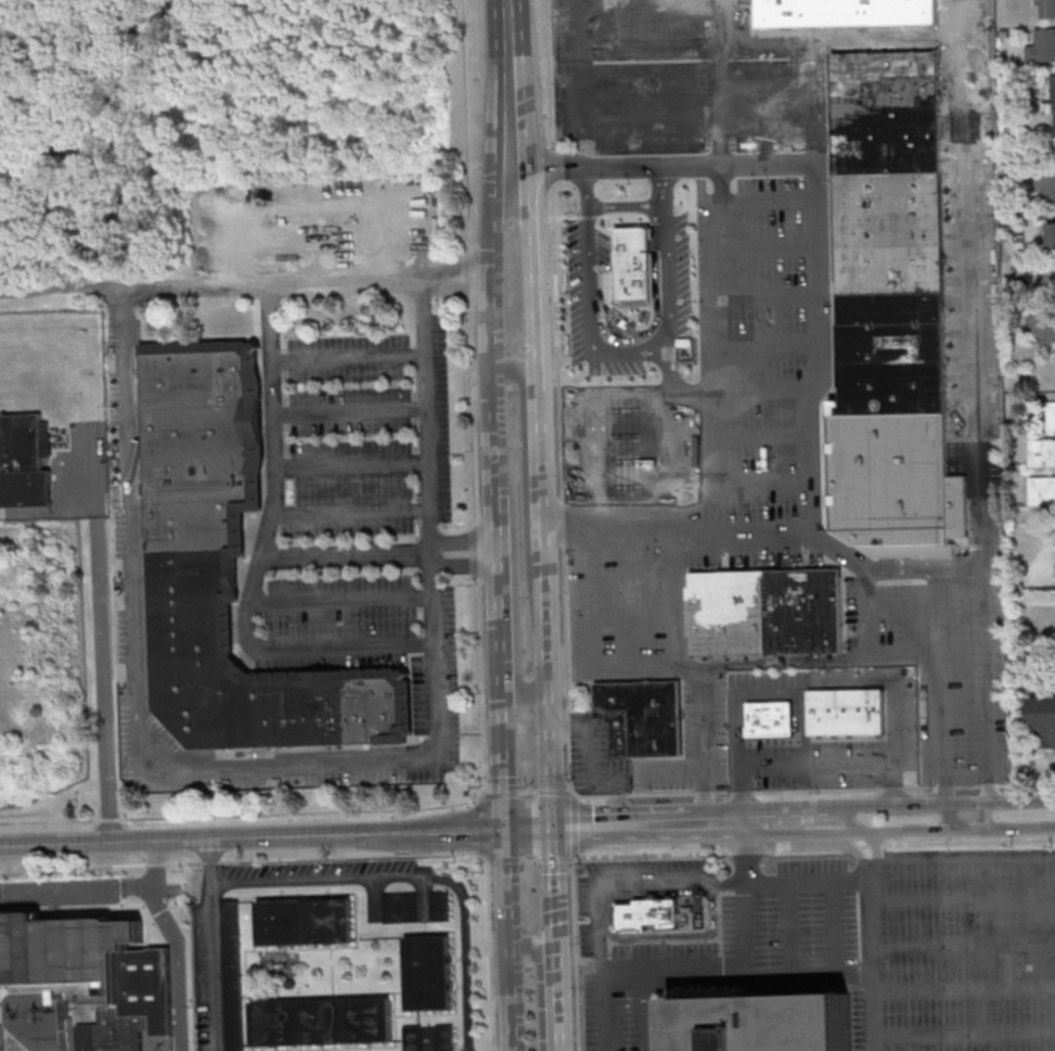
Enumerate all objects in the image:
road: (656, 5)
building: (1047, 7)
road: (736, 23)
road: (507, 24)
building: (1042, 46)
road: (657, 49)
road: (695, 82)
building: (1053, 87)
road: (517, 105)
road: (630, 130)
road: (499, 152)
road: (671, 163)
building: (1046, 185)
road: (769, 202)
road: (625, 206)
building: (1052, 238)
road: (769, 248)
road: (816, 254)
building: (887, 259)
road: (722, 260)
road: (422, 278)
road: (304, 281)
road: (974, 281)
building: (1052, 282)
road: (61, 292)
road: (770, 295)
road: (539, 297)
road: (653, 326)
building: (1045, 326)
road: (608, 337)
road: (770, 343)
road: (636, 353)
road: (348, 359)
road: (670, 373)
road: (697, 393)
road: (557, 397)
road: (350, 411)
building: (1053, 415)
road: (696, 438)
building: (1042, 453)
road: (586, 458)
building: (22, 462)
road: (351, 465)
road: (527, 465)
road: (274, 467)
road: (697, 485)
building: (1042, 490)
road: (131, 501)
road: (544, 502)
road: (352, 511)
road: (478, 525)
road: (754, 529)
road: (471, 538)
road: (501, 542)
road: (348, 554)
road: (472, 566)
road: (927, 567)
building: (231, 569)
road: (515, 582)
road: (590, 595)
road: (627, 597)
road: (677, 598)
road: (343, 600)
road: (905, 606)
building: (764, 611)
road: (101, 644)
road: (345, 648)
road: (767, 661)
road: (439, 679)
road: (816, 682)
road: (989, 682)
road: (944, 685)
road: (550, 698)
building: (847, 712)
building: (642, 718)
building: (771, 718)
building: (1043, 718)
road: (704, 743)
road: (815, 761)
road: (600, 782)
road: (814, 791)
road: (527, 792)
road: (555, 793)
road: (500, 794)
road: (625, 804)
road: (949, 804)
road: (794, 809)
road: (303, 811)
road: (969, 817)
road: (111, 818)
road: (726, 818)
road: (50, 820)
road: (689, 822)
road: (745, 823)
road: (708, 824)
traffic signals: (555, 825)
road: (576, 825)
road: (612, 825)
road: (529, 826)
traffic signals: (504, 828)
road: (871, 831)
road: (861, 833)
road: (252, 837)
road: (968, 842)
road: (863, 845)
road: (853, 846)
road: (808, 853)
road: (747, 854)
road: (651, 855)
road: (962, 858)
road: (556, 859)
road: (244, 860)
road: (528, 860)
road: (503, 861)
road: (414, 877)
road: (792, 883)
road: (130, 884)
road: (98, 887)
road: (506, 889)
road: (600, 893)
road: (214, 898)
road: (963, 899)
road: (92, 906)
building: (440, 906)
building: (400, 908)
building: (646, 911)
building: (305, 921)
road: (787, 926)
road: (835, 926)
road: (745, 927)
road: (558, 937)
road: (205, 944)
road: (964, 946)
road: (575, 953)
road: (454, 954)
road: (178, 965)
road: (873, 966)
road: (737, 970)
building: (90, 971)
road: (332, 971)
building: (429, 972)
road: (402, 973)
building: (232, 975)
road: (544, 986)
road: (965, 990)
road: (511, 1001)
road: (648, 1010)
building: (756, 1017)
building: (322, 1021)
road: (247, 1025)
road: (965, 1034)
building: (413, 1037)
building: (445, 1037)
road: (493, 1050)

